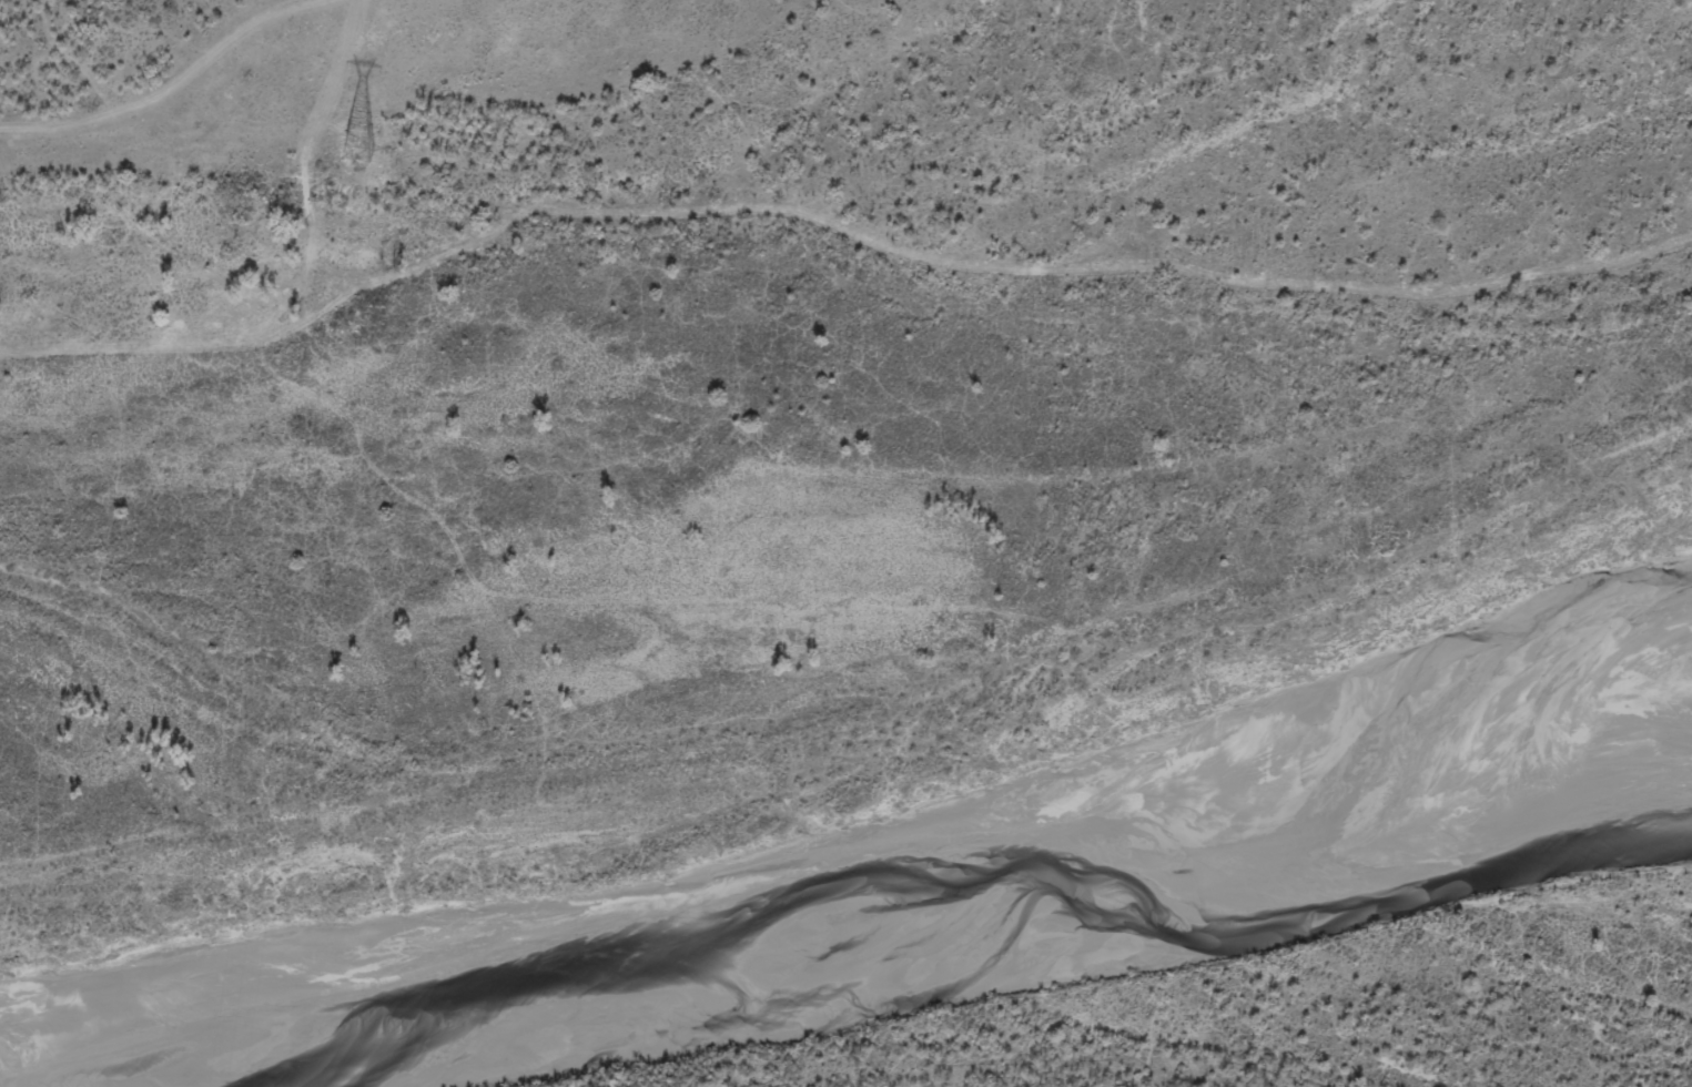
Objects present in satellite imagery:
power tower: (357, 150)
road: (831, 224)
river: (979, 956)

